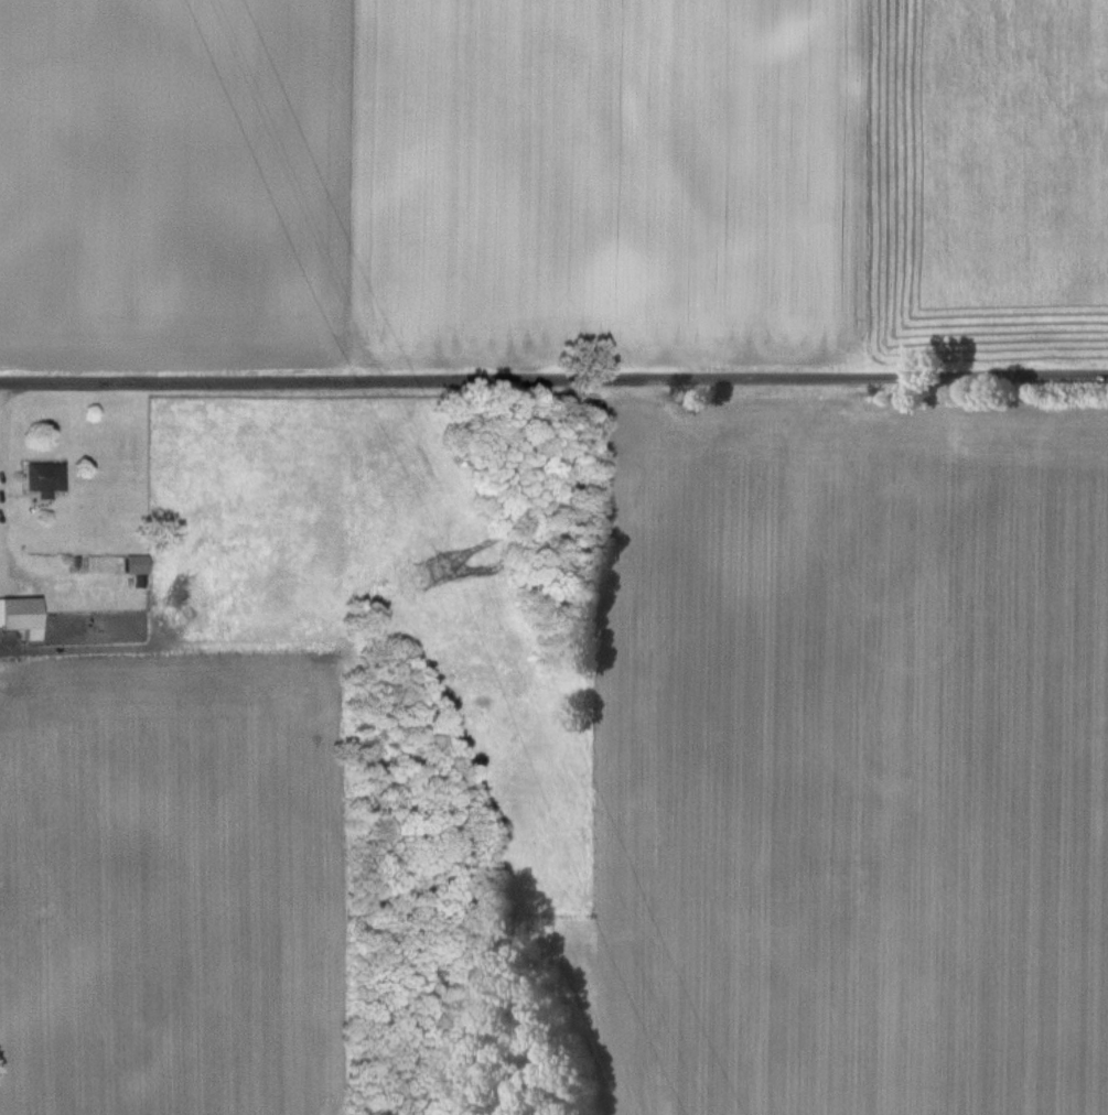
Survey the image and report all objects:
road: (553, 380)
building: (43, 477)
power tower: (427, 572)
building: (20, 615)

